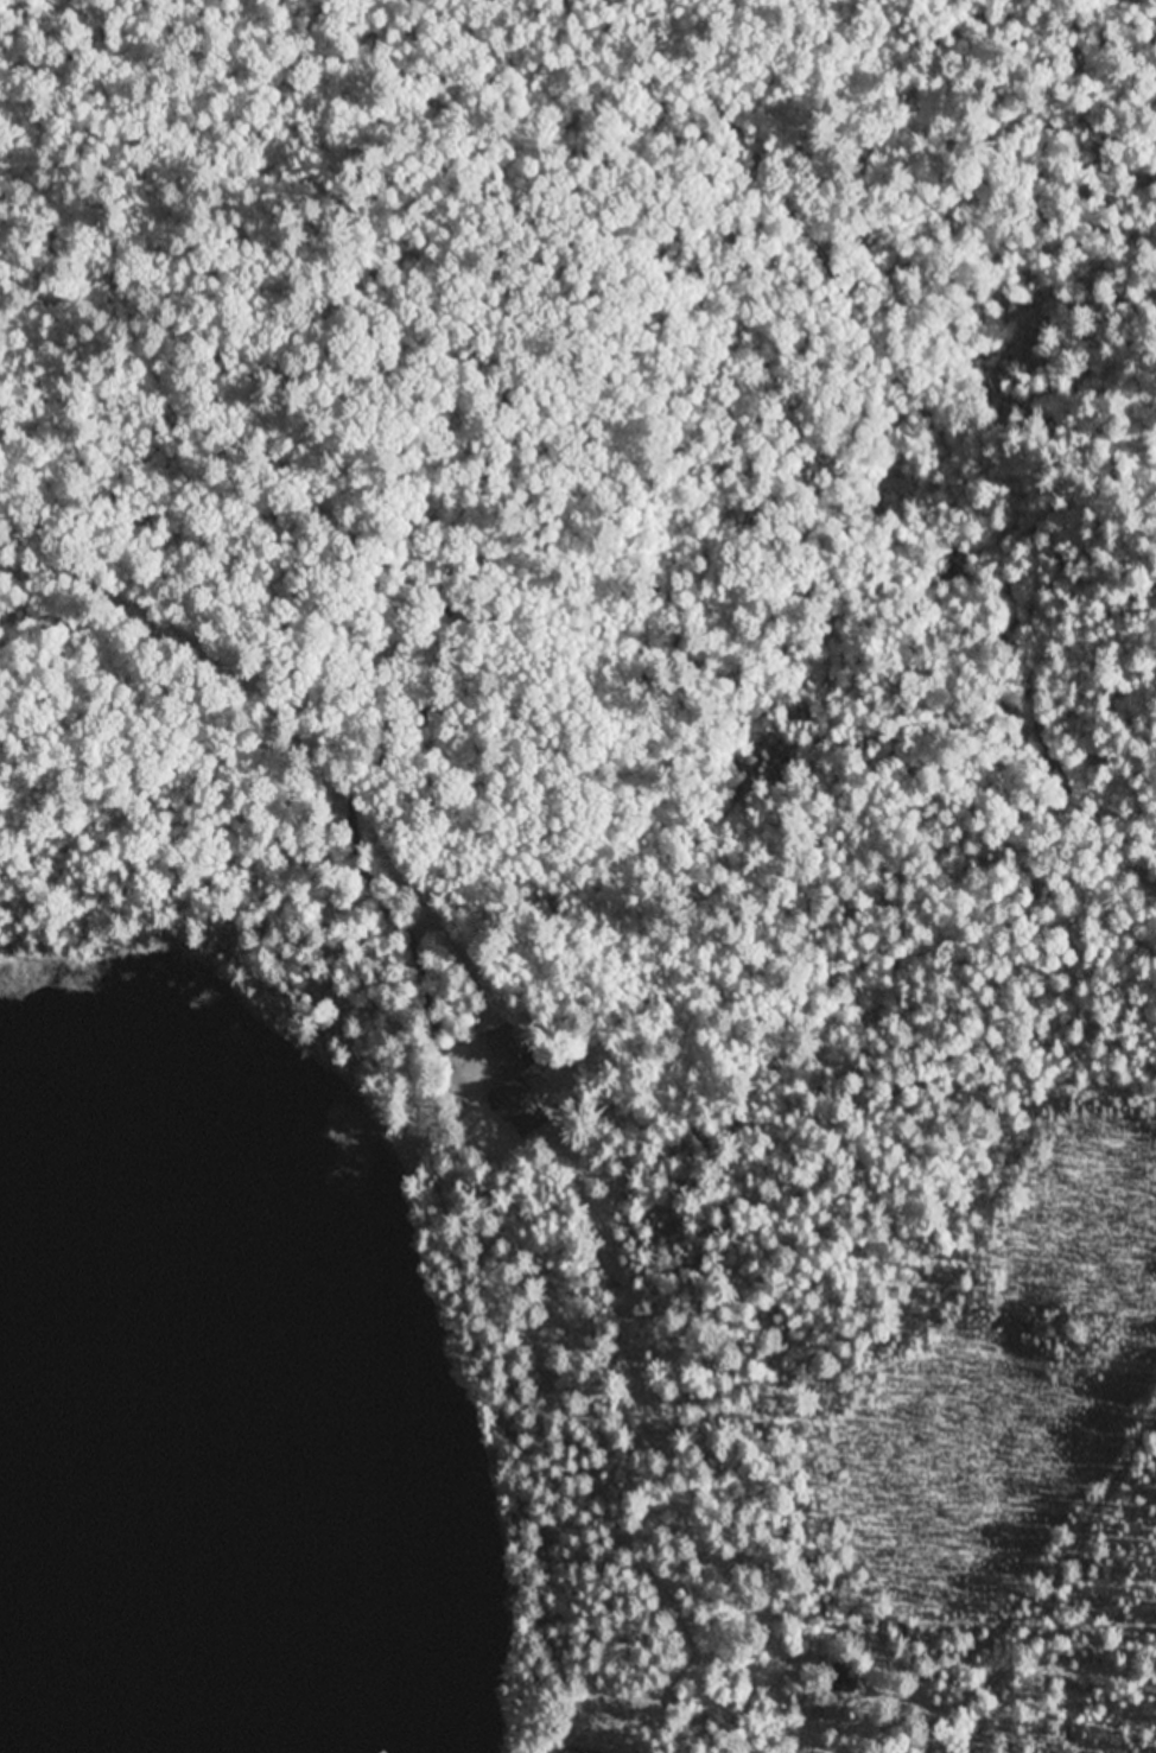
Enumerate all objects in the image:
road: (941, 425)
building: (516, 1091)
road: (1008, 1668)

